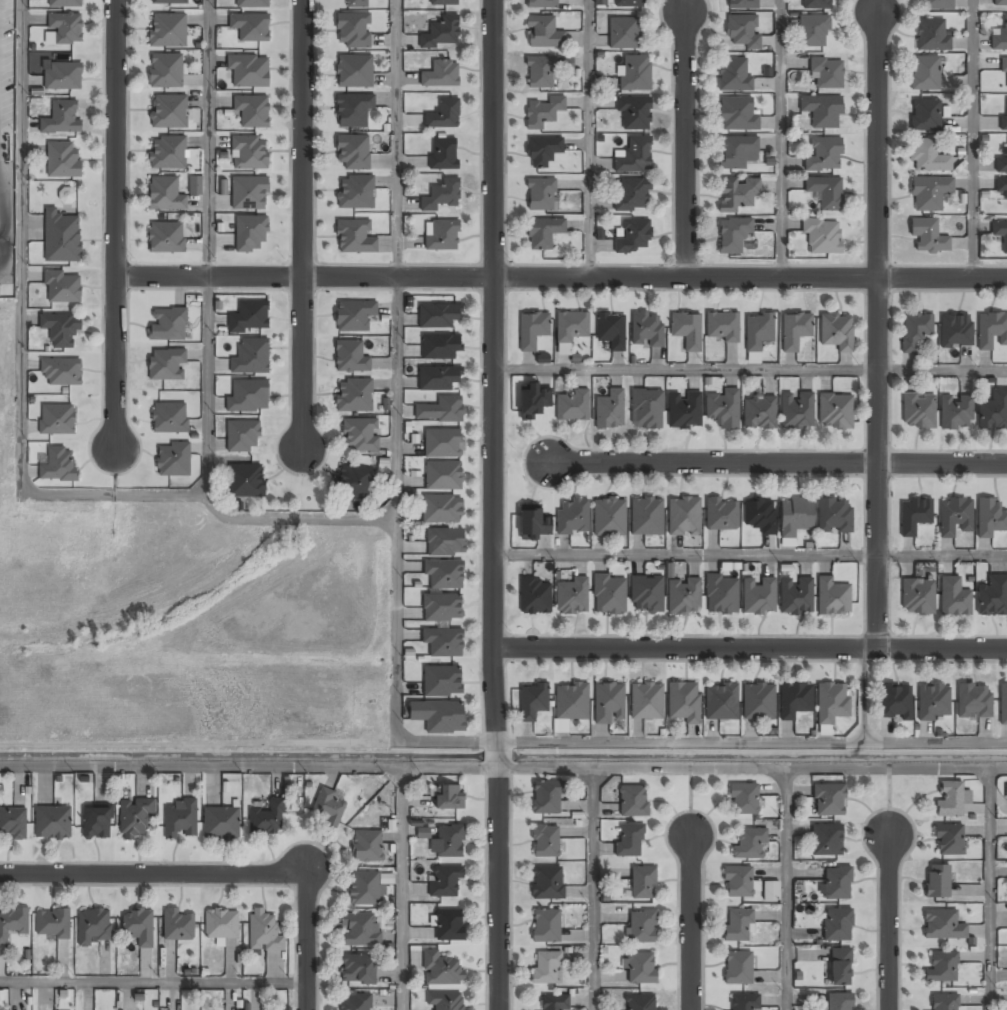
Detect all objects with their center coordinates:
building: (168, 2)
building: (444, 2)
building: (600, 2)
building: (1001, 2)
building: (64, 3)
building: (250, 3)
building: (627, 3)
building: (356, 4)
building: (542, 4)
building: (815, 4)
building: (742, 5)
building: (938, 5)
building: (65, 27)
building: (250, 27)
building: (167, 30)
building: (813, 30)
building: (353, 31)
building: (441, 31)
building: (741, 32)
building: (543, 33)
building: (623, 33)
building: (932, 35)
building: (999, 38)
building: (1003, 68)
building: (165, 71)
building: (248, 71)
building: (353, 72)
building: (541, 72)
building: (635, 73)
building: (441, 74)
building: (826, 74)
building: (925, 74)
building: (62, 76)
building: (733, 76)
building: (352, 110)
building: (822, 110)
building: (251, 111)
building: (168, 112)
building: (542, 113)
building: (634, 113)
building: (443, 114)
building: (736, 115)
building: (924, 115)
building: (61, 119)
building: (1003, 120)
road: (493, 136)
road: (588, 137)
road: (779, 138)
road: (972, 138)
road: (209, 139)
road: (683, 141)
building: (353, 152)
building: (541, 152)
building: (166, 153)
building: (249, 153)
building: (443, 153)
building: (735, 153)
building: (824, 155)
building: (633, 156)
building: (927, 157)
building: (62, 160)
building: (1002, 163)
building: (195, 185)
building: (1001, 186)
building: (355, 192)
building: (826, 193)
building: (929, 193)
building: (164, 194)
building: (249, 194)
building: (736, 194)
building: (540, 195)
building: (631, 195)
building: (440, 196)
road: (304, 223)
road: (115, 225)
building: (250, 233)
building: (542, 233)
building: (441, 235)
building: (732, 235)
building: (1000, 235)
building: (822, 236)
building: (927, 236)
building: (61, 237)
building: (353, 237)
building: (634, 237)
building: (166, 238)
road: (561, 273)
building: (62, 286)
building: (438, 315)
building: (353, 316)
building: (249, 318)
building: (167, 324)
building: (722, 327)
building: (532, 329)
building: (570, 329)
road: (879, 329)
building: (60, 330)
building: (686, 330)
building: (758, 330)
building: (610, 331)
building: (647, 331)
building: (795, 331)
building: (955, 331)
building: (991, 331)
building: (836, 332)
building: (914, 332)
building: (441, 347)
building: (250, 357)
building: (350, 357)
building: (166, 365)
road: (686, 370)
road: (943, 370)
building: (60, 372)
building: (437, 378)
road: (396, 383)
road: (206, 387)
building: (353, 396)
building: (247, 397)
building: (532, 401)
building: (572, 406)
building: (646, 409)
building: (723, 409)
building: (440, 410)
building: (609, 410)
building: (796, 410)
building: (684, 411)
building: (918, 411)
building: (834, 412)
building: (955, 412)
building: (993, 412)
building: (758, 413)
building: (169, 417)
building: (57, 419)
building: (358, 435)
road: (22, 436)
building: (242, 437)
building: (443, 443)
building: (173, 459)
road: (776, 463)
building: (58, 464)
building: (443, 476)
building: (246, 481)
building: (353, 481)
building: (442, 510)
building: (722, 514)
building: (834, 515)
building: (914, 515)
building: (646, 516)
building: (683, 516)
building: (954, 516)
building: (609, 517)
building: (759, 517)
building: (572, 518)
building: (795, 518)
building: (989, 518)
building: (533, 523)
building: (445, 542)
road: (941, 554)
road: (686, 555)
building: (443, 574)
building: (646, 595)
building: (609, 596)
building: (683, 596)
building: (721, 596)
building: (796, 596)
building: (534, 597)
building: (571, 597)
building: (758, 597)
building: (993, 597)
building: (833, 598)
building: (917, 598)
building: (953, 598)
building: (442, 608)
road: (496, 641)
building: (443, 642)
road: (752, 651)
building: (442, 681)
building: (794, 700)
building: (531, 701)
building: (646, 702)
building: (683, 702)
building: (720, 702)
building: (758, 702)
building: (832, 702)
building: (894, 702)
building: (933, 702)
building: (974, 702)
building: (571, 703)
building: (608, 704)
building: (1003, 705)
building: (439, 716)
building: (560, 725)
road: (752, 763)
road: (249, 765)
building: (1006, 792)
building: (449, 797)
building: (546, 798)
building: (744, 799)
building: (950, 799)
building: (828, 801)
building: (633, 802)
building: (329, 807)
building: (134, 819)
building: (267, 819)
building: (179, 820)
building: (12, 823)
building: (52, 823)
building: (96, 823)
building: (221, 824)
building: (423, 832)
building: (826, 840)
building: (545, 841)
building: (629, 841)
building: (949, 841)
building: (447, 842)
building: (750, 844)
building: (366, 847)
road: (154, 876)
building: (445, 881)
building: (385, 882)
building: (738, 882)
building: (937, 882)
building: (547, 883)
building: (643, 883)
building: (837, 884)
road: (594, 886)
road: (785, 887)
road: (990, 887)
road: (402, 888)
building: (365, 889)
building: (771, 890)
road: (690, 920)
building: (12, 923)
building: (52, 923)
road: (890, 923)
building: (178, 924)
building: (221, 924)
building: (837, 925)
building: (449, 926)
building: (545, 926)
building: (737, 926)
building: (942, 926)
building: (93, 927)
building: (138, 927)
building: (641, 927)
building: (359, 930)
building: (264, 932)
road: (307, 943)
building: (840, 967)
building: (546, 968)
building: (738, 968)
building: (941, 968)
building: (441, 969)
building: (640, 969)
building: (357, 970)
road: (153, 984)
building: (444, 1001)
building: (355, 1002)
building: (743, 1002)
building: (839, 1002)
building: (944, 1002)
building: (554, 1003)
building: (640, 1003)

